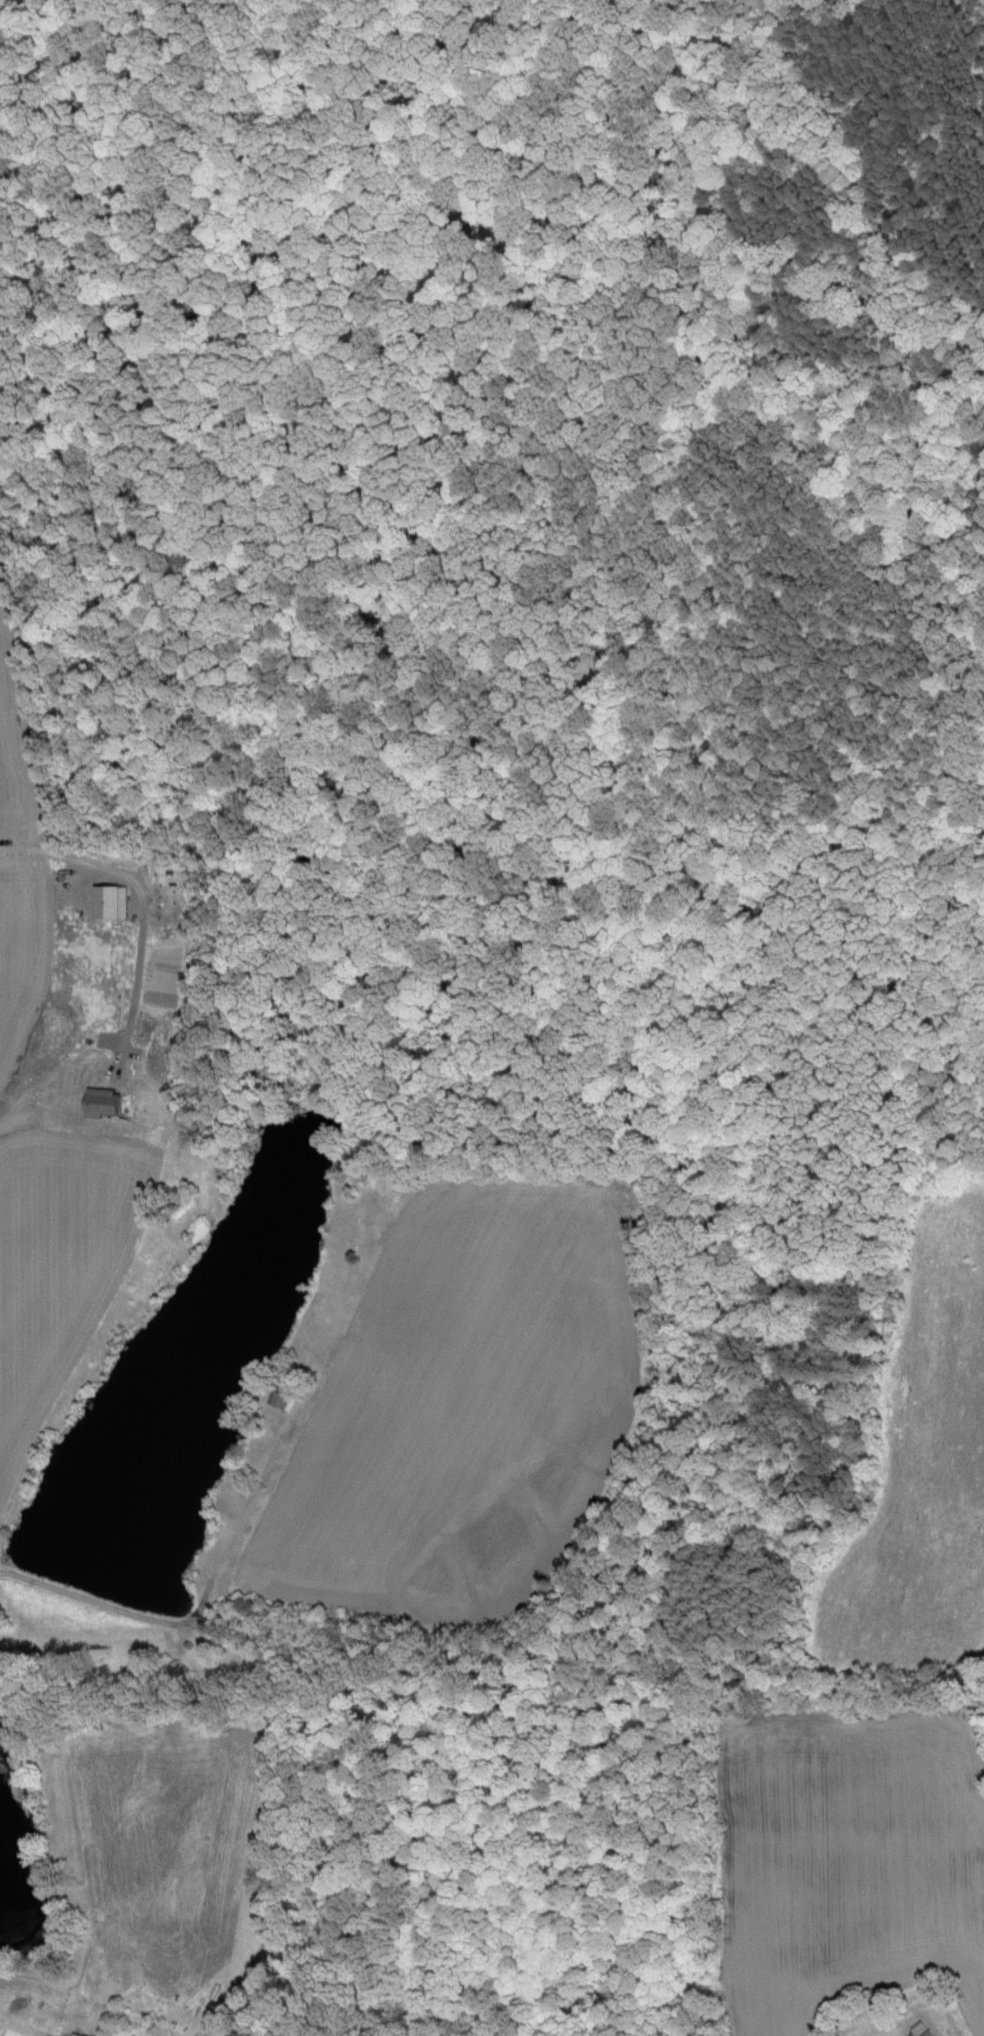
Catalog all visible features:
building: (108, 900)
building: (100, 1101)
building: (276, 1397)
crop: (459, 1422)
road: (202, 1604)
building: (921, 2033)
building: (74, 2034)

